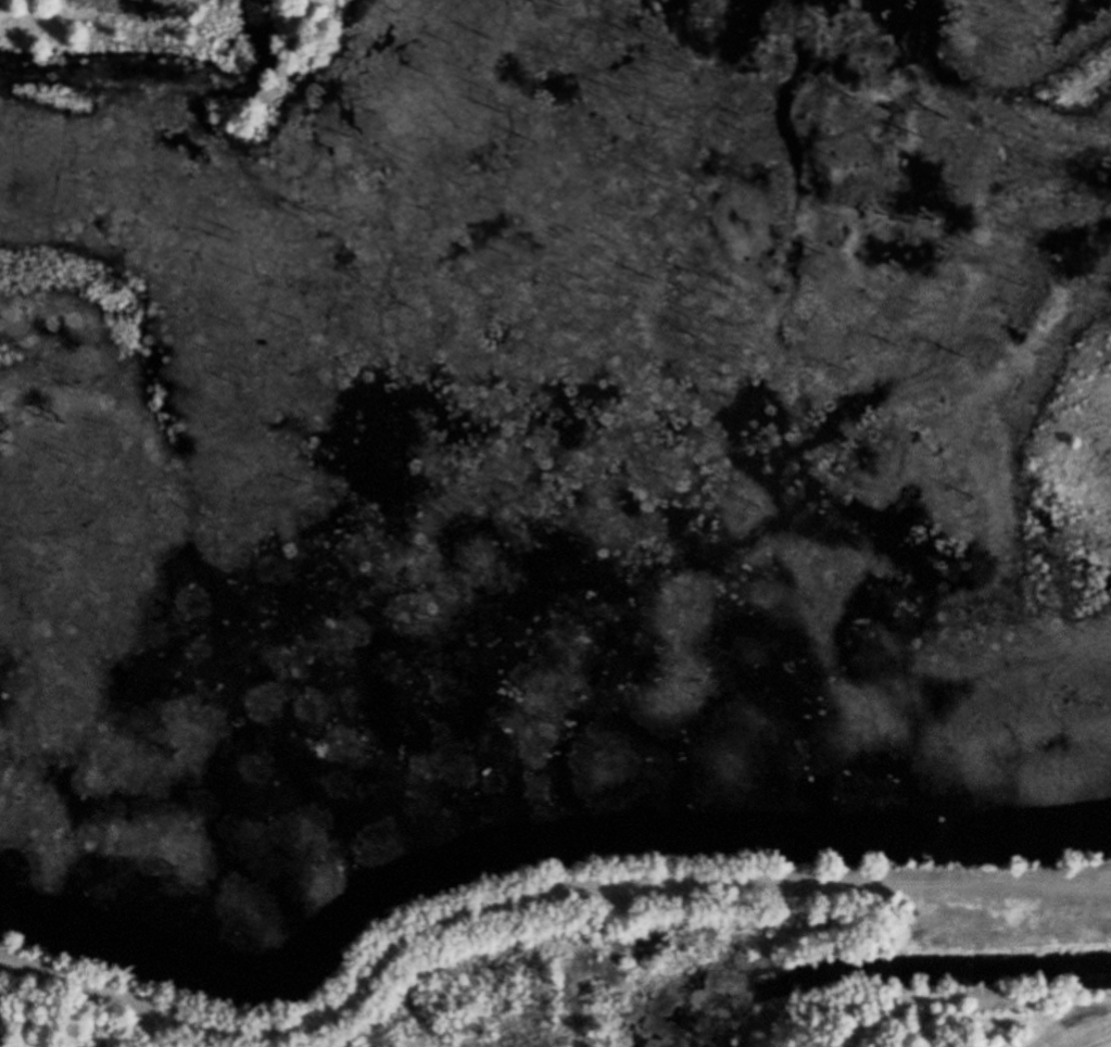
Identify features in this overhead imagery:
crop: (1074, 1026)

